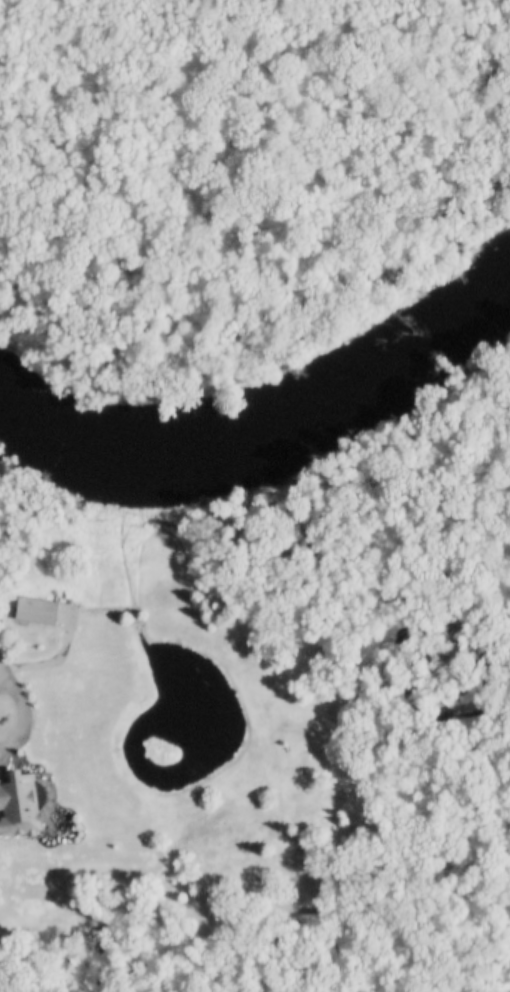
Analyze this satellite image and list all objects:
building: (42, 608)
road: (20, 715)
building: (25, 804)

